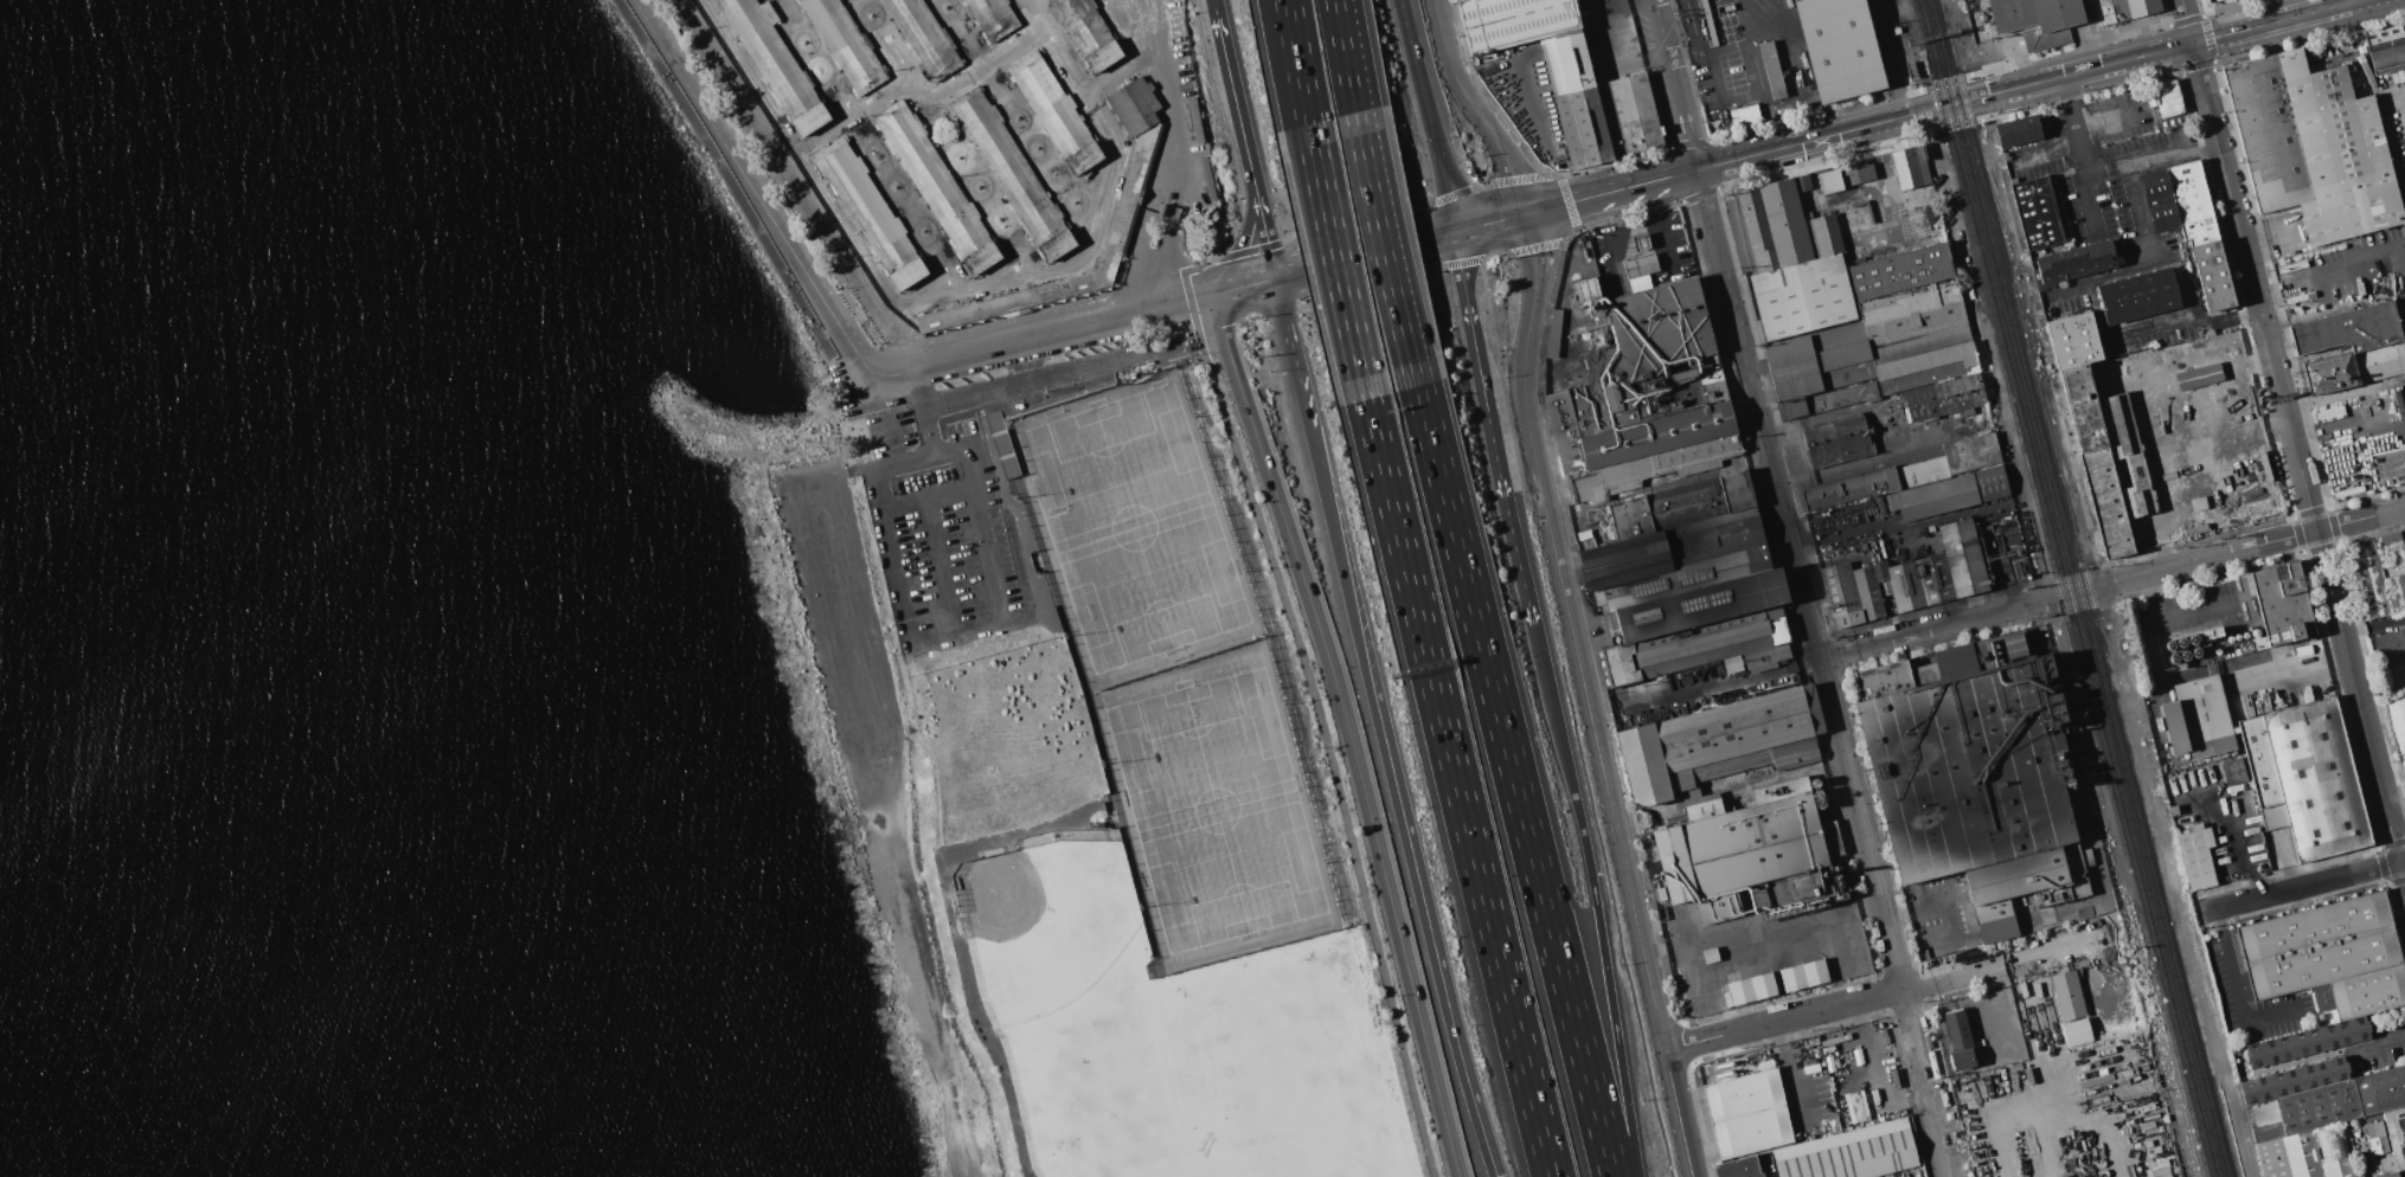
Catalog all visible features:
building: (2211, 0)
building: (2134, 8)
building: (2037, 14)
building: (992, 18)
road: (1745, 19)
building: (1513, 21)
building: (1707, 22)
road: (1693, 27)
building: (1088, 32)
building: (924, 36)
building: (844, 44)
building: (2386, 46)
building: (1839, 47)
road: (1615, 50)
road: (2164, 51)
road: (1752, 53)
road: (1348, 54)
road: (1888, 58)
road: (1295, 62)
building: (775, 65)
road: (1121, 67)
building: (1771, 70)
road: (1674, 85)
road: (2372, 86)
road: (1232, 91)
road: (1721, 94)
building: (2167, 98)
building: (1597, 105)
road: (1941, 107)
road: (1476, 109)
building: (1054, 114)
road: (1428, 115)
building: (1744, 115)
road: (2110, 118)
building: (2019, 131)
road: (1806, 142)
building: (2311, 146)
road: (2047, 150)
road: (1180, 154)
building: (1909, 167)
road: (2089, 172)
building: (1859, 173)
building: (1013, 174)
parking lot: (2110, 174)
building: (1829, 181)
building: (1800, 182)
road: (1636, 186)
building: (936, 188)
road: (731, 194)
parking lot: (2403, 194)
road: (752, 195)
road: (2087, 204)
building: (1124, 206)
road: (1098, 207)
building: (2038, 213)
building: (871, 214)
building: (1930, 216)
road: (1515, 217)
building: (2189, 224)
road: (1662, 226)
road: (1149, 229)
road: (1264, 230)
road: (1244, 240)
building: (1641, 242)
road: (1539, 245)
road: (1621, 246)
road: (2403, 246)
road: (1386, 247)
road: (1526, 250)
road: (1495, 252)
road: (1366, 255)
road: (2403, 256)
road: (1335, 261)
road: (1469, 261)
building: (1788, 261)
road: (2362, 261)
building: (2076, 262)
road: (2149, 264)
road: (2250, 264)
building: (1640, 265)
parking lot: (2345, 270)
road: (1248, 285)
building: (2138, 296)
parking lot: (2069, 300)
road: (2183, 313)
parking lot: (2156, 326)
building: (2347, 329)
building: (1553, 333)
road: (1056, 334)
building: (1878, 337)
building: (2071, 341)
railway: (2037, 348)
road: (1990, 354)
road: (1477, 362)
building: (2353, 367)
railway: (2032, 372)
building: (2146, 373)
road: (1062, 374)
road: (2346, 392)
building: (1642, 394)
building: (1944, 398)
road: (924, 412)
road: (1758, 414)
road: (2354, 427)
road: (996, 440)
road: (893, 442)
building: (1835, 442)
road: (1858, 459)
building: (2106, 459)
building: (1949, 478)
building: (1849, 489)
road: (928, 499)
building: (1680, 506)
road: (1545, 508)
park: (1134, 528)
parking lot: (942, 535)
road: (2259, 545)
building: (2392, 549)
road: (1516, 558)
building: (1680, 560)
road: (829, 564)
railway: (1777, 565)
road: (937, 567)
building: (1905, 579)
railway: (2058, 587)
railway: (2067, 587)
railway: (2078, 587)
building: (2375, 588)
road: (2079, 591)
road: (2198, 610)
road: (1000, 622)
building: (1697, 629)
road: (1932, 629)
road: (2153, 636)
building: (2390, 641)
building: (2188, 644)
road: (1719, 687)
railway: (1832, 687)
road: (2361, 701)
building: (2397, 721)
building: (2277, 723)
road: (1381, 728)
road: (1348, 731)
road: (1322, 735)
building: (1715, 744)
building: (2401, 764)
building: (1970, 771)
building: (2232, 771)
road: (1514, 780)
road: (1458, 787)
road: (1606, 793)
park: (1217, 808)
road: (1859, 823)
building: (1737, 849)
building: (2194, 856)
road: (2242, 861)
road: (2304, 885)
building: (1660, 894)
road: (1595, 898)
road: (1945, 905)
park: (1044, 924)
road: (1761, 930)
road: (956, 934)
road: (917, 943)
road: (2057, 948)
building: (2323, 971)
road: (1954, 975)
building: (1802, 976)
road: (2236, 989)
building: (1749, 990)
building: (2066, 995)
road: (1655, 1014)
road: (1782, 1018)
building: (2076, 1033)
building: (1958, 1041)
road: (2379, 1042)
road: (1794, 1069)
park: (1290, 1078)
road: (1874, 1078)
road: (1925, 1081)
park: (1115, 1099)
building: (1746, 1114)
building: (2324, 1118)
road: (2240, 1133)
road: (2104, 1137)
building: (2375, 1138)
building: (1848, 1152)
building: (1737, 1168)

